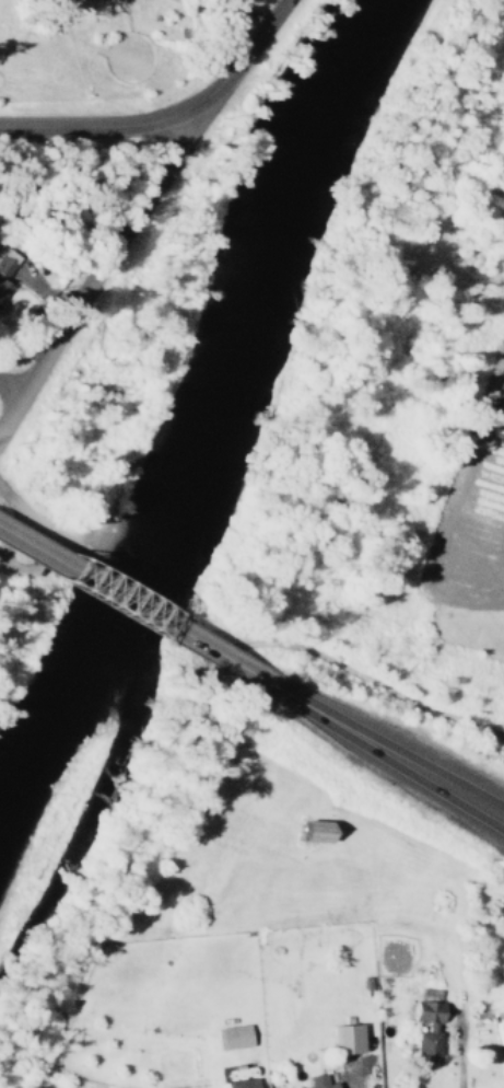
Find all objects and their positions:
road: (166, 116)
building: (2, 268)
building: (2, 288)
river: (224, 420)
road: (134, 607)
road: (387, 753)
building: (306, 830)
building: (423, 1028)
building: (497, 1029)
building: (230, 1035)
building: (341, 1038)
road: (462, 1050)
building: (314, 1081)
building: (237, 1083)
road: (348, 1084)

